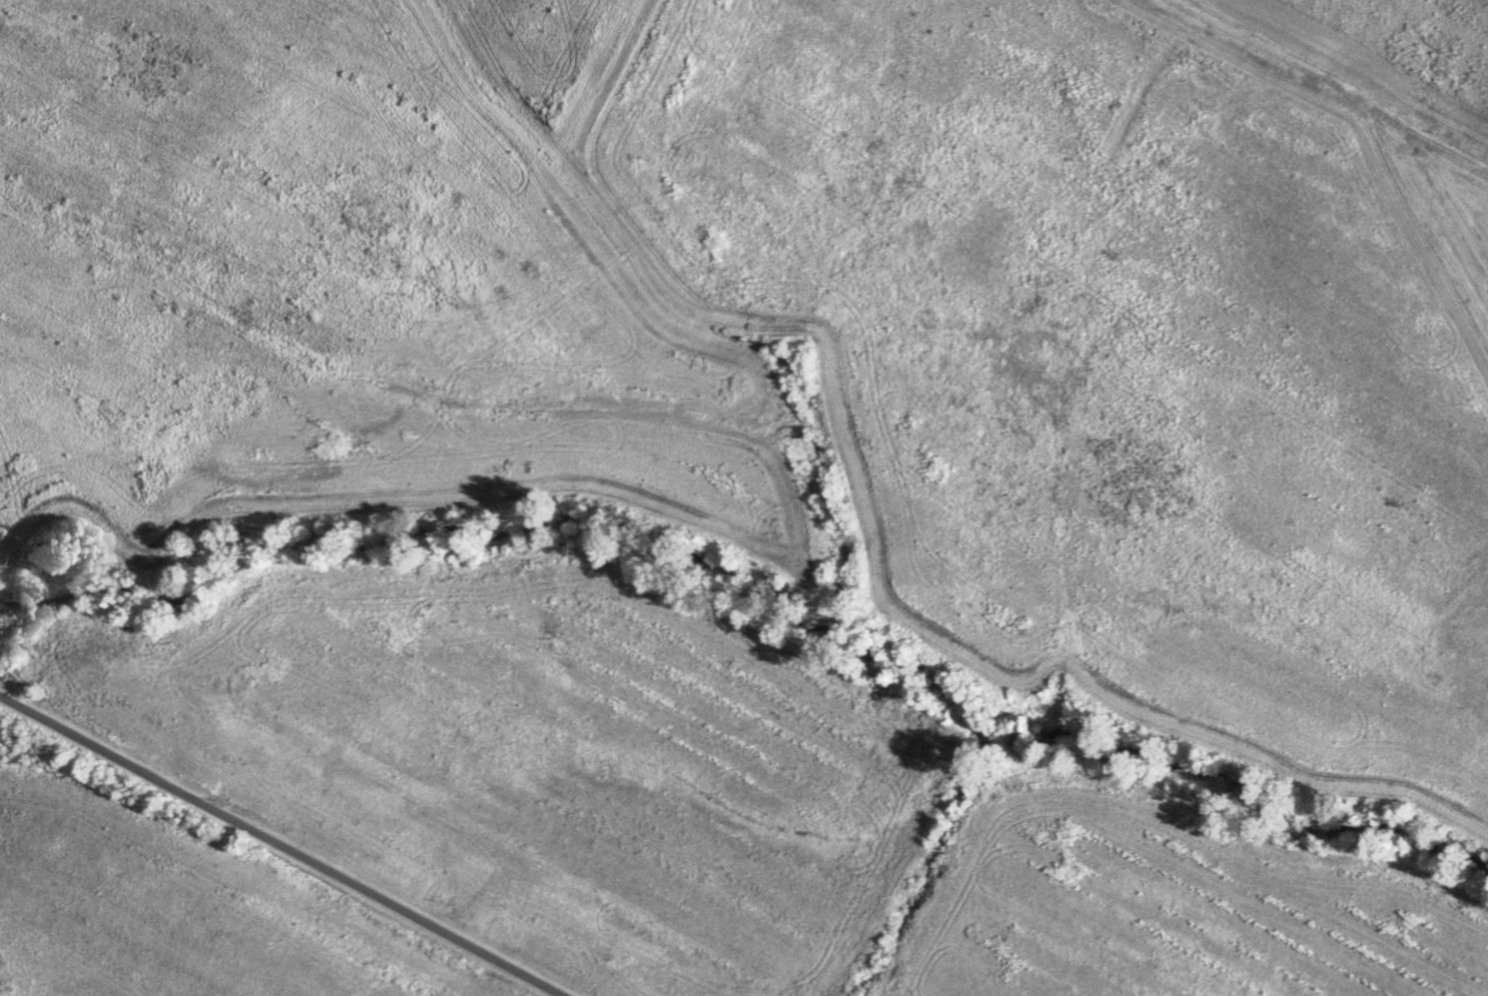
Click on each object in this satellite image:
road: (284, 844)

